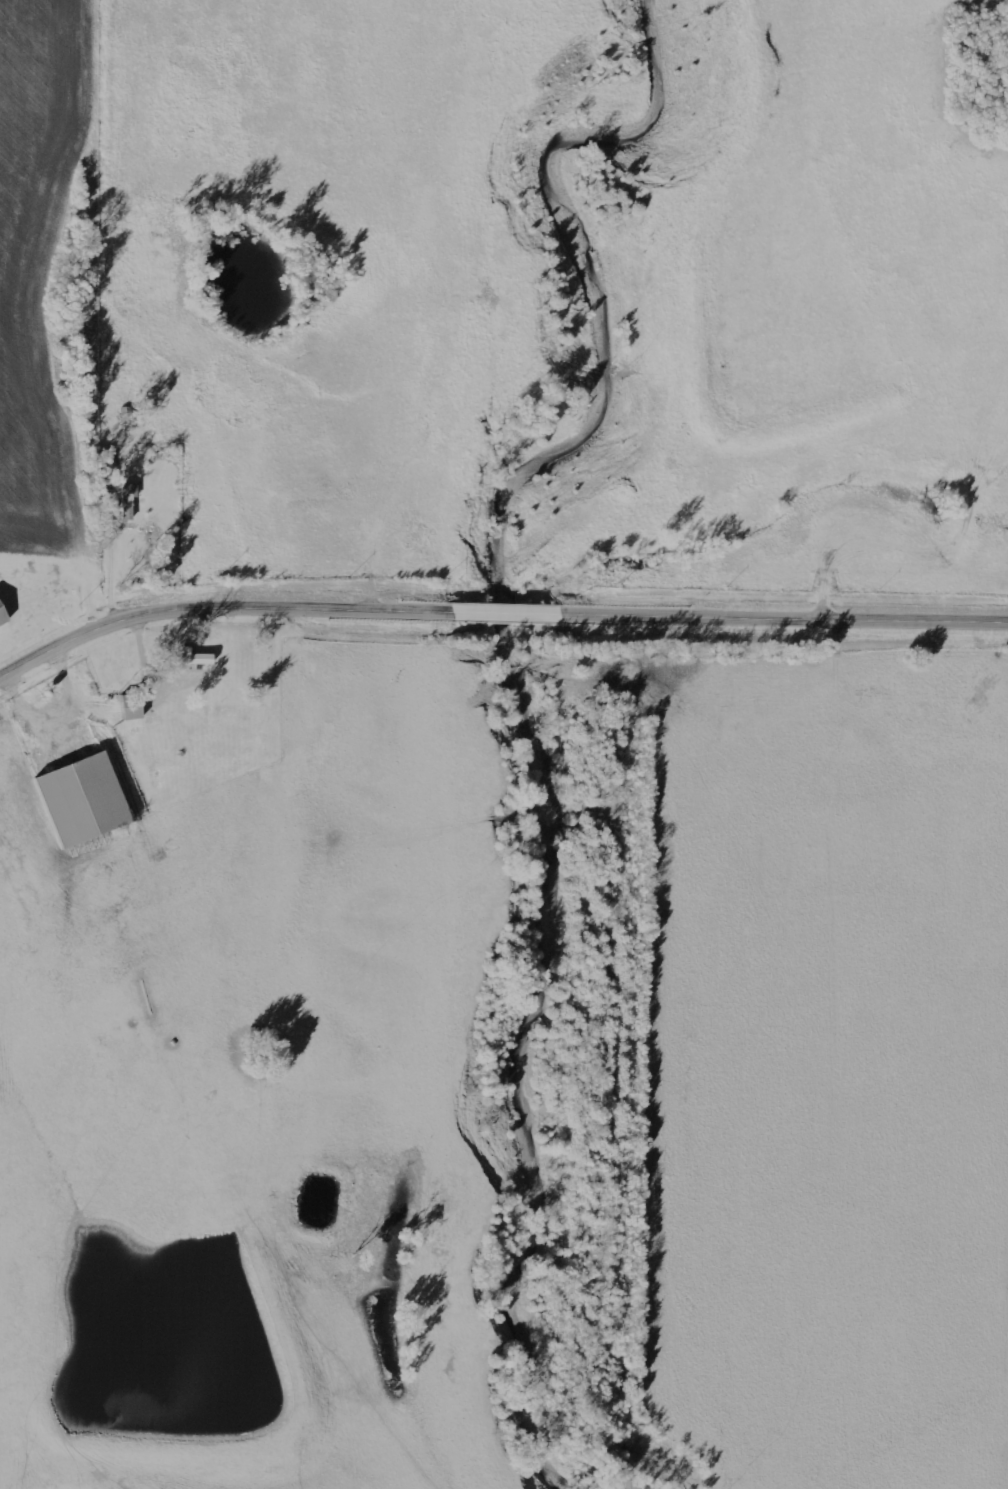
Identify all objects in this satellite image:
park: (978, 73)
road: (496, 610)
building: (3, 616)
building: (193, 658)
building: (134, 707)
building: (85, 801)

